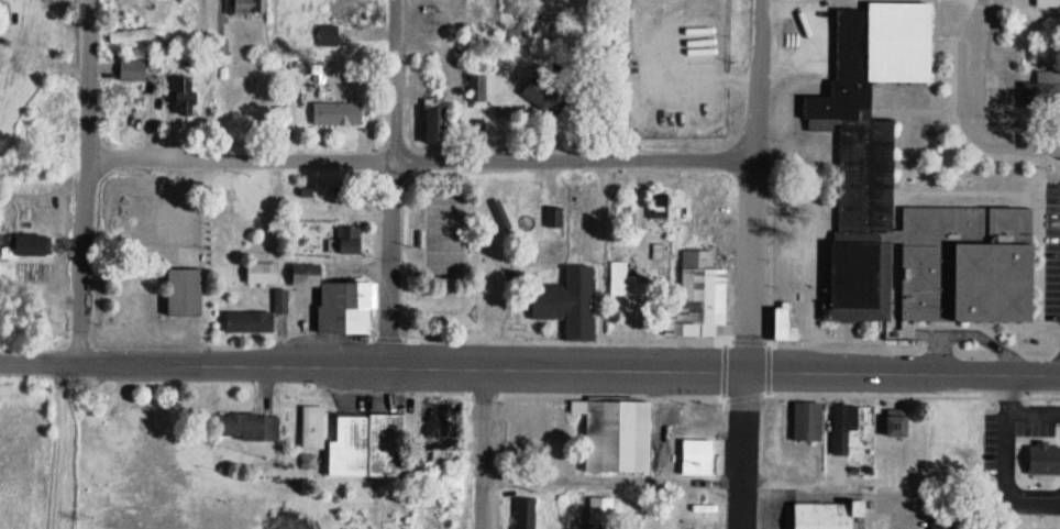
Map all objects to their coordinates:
building: (1047, 3)
building: (250, 7)
building: (349, 11)
building: (330, 36)
road: (975, 57)
building: (134, 70)
building: (1045, 89)
building: (187, 98)
building: (549, 99)
building: (339, 114)
building: (441, 126)
road: (1017, 137)
road: (422, 156)
building: (868, 167)
road: (88, 180)
road: (391, 180)
building: (661, 207)
building: (554, 222)
building: (349, 241)
building: (36, 246)
road: (751, 264)
building: (265, 274)
building: (628, 283)
building: (189, 294)
building: (703, 298)
building: (572, 304)
building: (351, 308)
building: (260, 318)
building: (787, 326)
road: (530, 364)
building: (810, 423)
building: (902, 425)
building: (316, 427)
building: (251, 428)
building: (847, 428)
building: (449, 429)
building: (619, 437)
building: (372, 444)
road: (482, 447)
building: (702, 459)
building: (527, 513)
building: (831, 516)
building: (945, 525)

